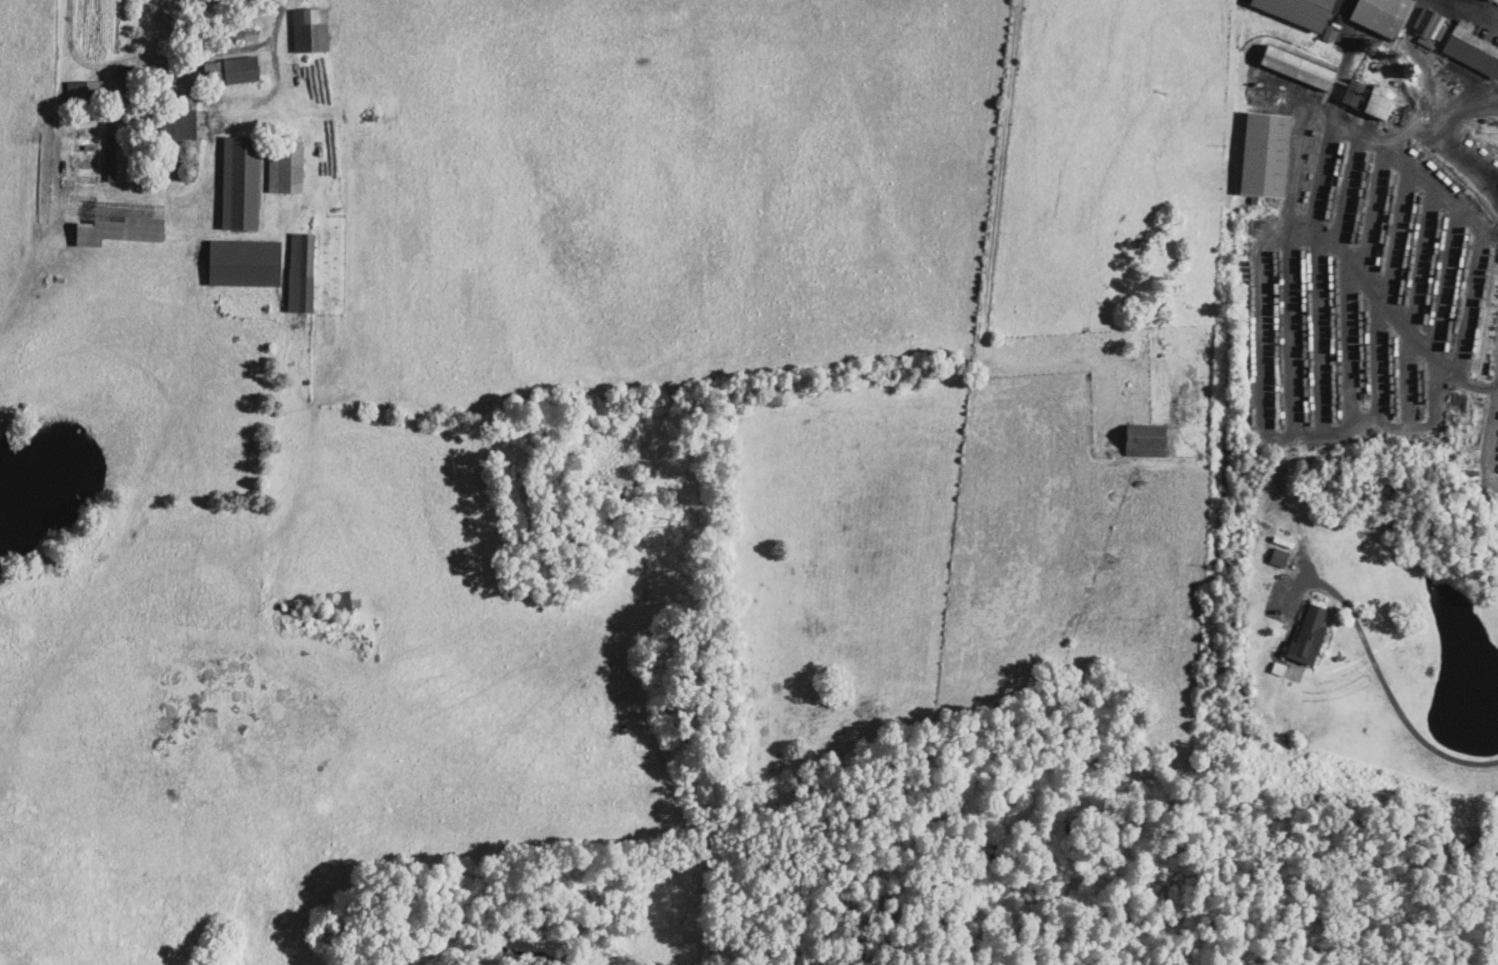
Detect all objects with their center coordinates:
road: (263, 5)
building: (1295, 10)
road: (1471, 14)
building: (1378, 15)
building: (307, 29)
building: (1470, 49)
building: (1295, 67)
building: (229, 69)
road: (189, 84)
building: (83, 90)
building: (1364, 98)
building: (174, 124)
road: (1387, 141)
building: (116, 153)
building: (1262, 154)
building: (283, 167)
building: (238, 182)
road: (1444, 192)
building: (242, 262)
building: (298, 272)
road: (1370, 280)
road: (1464, 381)
road: (1287, 437)
building: (1142, 440)
road: (1490, 444)
building: (1277, 557)
building: (1306, 634)
road: (1385, 688)

